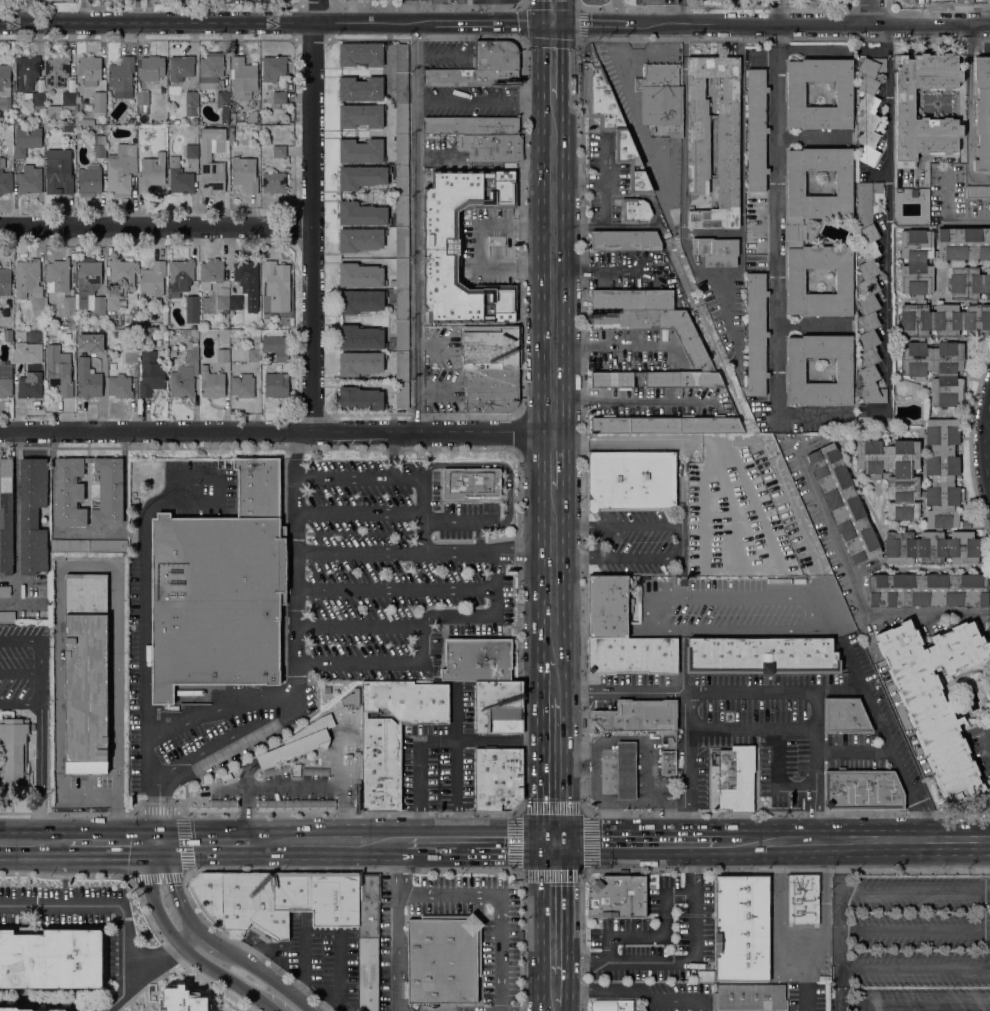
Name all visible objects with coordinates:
road: (524, 2)
road: (578, 2)
building: (655, 2)
road: (524, 5)
road: (715, 7)
road: (349, 10)
road: (409, 11)
road: (497, 11)
road: (541, 11)
road: (566, 11)
road: (615, 11)
road: (684, 11)
road: (868, 11)
road: (217, 21)
road: (487, 22)
traffic signals: (541, 23)
road: (553, 23)
traffic signals: (566, 23)
road: (601, 23)
road: (813, 23)
building: (361, 54)
building: (401, 58)
road: (566, 60)
building: (152, 67)
building: (181, 67)
building: (482, 67)
building: (274, 68)
building: (89, 70)
building: (210, 70)
building: (56, 71)
building: (26, 72)
building: (121, 77)
building: (243, 78)
building: (5, 87)
building: (401, 88)
building: (361, 89)
road: (628, 93)
building: (796, 94)
building: (34, 97)
building: (192, 98)
building: (661, 98)
building: (143, 99)
building: (68, 100)
building: (279, 100)
road: (478, 100)
building: (199, 101)
road: (553, 101)
building: (99, 102)
building: (905, 103)
building: (223, 105)
building: (869, 107)
building: (54, 110)
road: (968, 111)
building: (71, 114)
building: (982, 114)
building: (252, 116)
building: (361, 116)
building: (232, 119)
building: (401, 119)
building: (84, 122)
building: (470, 125)
building: (49, 127)
building: (615, 128)
building: (18, 129)
building: (756, 129)
building: (231, 133)
building: (99, 146)
building: (492, 146)
building: (698, 147)
building: (401, 150)
building: (20, 151)
building: (192, 151)
building: (279, 151)
building: (360, 151)
building: (206, 156)
building: (121, 169)
building: (58, 171)
building: (152, 172)
building: (244, 173)
building: (362, 176)
building: (179, 178)
building: (5, 179)
building: (89, 179)
building: (30, 180)
building: (401, 181)
building: (274, 182)
building: (978, 191)
building: (634, 210)
building: (402, 212)
building: (361, 214)
road: (311, 215)
road: (887, 215)
road: (566, 220)
road: (553, 225)
road: (155, 226)
road: (415, 226)
building: (795, 231)
road: (777, 236)
building: (360, 239)
building: (625, 241)
building: (402, 243)
road: (479, 245)
building: (442, 246)
building: (716, 251)
road: (553, 268)
building: (122, 271)
building: (210, 273)
building: (372, 275)
building: (57, 276)
building: (180, 276)
building: (152, 278)
building: (273, 279)
building: (247, 281)
building: (5, 282)
building: (969, 283)
building: (30, 284)
building: (89, 289)
building: (868, 291)
building: (632, 300)
building: (361, 301)
building: (115, 303)
building: (222, 304)
building: (235, 304)
building: (401, 305)
building: (69, 306)
building: (192, 308)
building: (939, 309)
building: (71, 325)
building: (655, 328)
building: (97, 332)
building: (192, 332)
building: (756, 334)
building: (8, 335)
building: (402, 336)
building: (360, 337)
road: (553, 343)
road: (619, 343)
road: (541, 346)
building: (491, 348)
building: (254, 353)
building: (20, 355)
building: (99, 355)
building: (223, 355)
building: (130, 356)
building: (263, 356)
building: (281, 356)
building: (108, 358)
building: (191, 358)
building: (360, 363)
building: (401, 367)
road: (566, 370)
building: (796, 370)
building: (59, 371)
building: (150, 374)
building: (87, 379)
building: (658, 379)
building: (5, 380)
building: (182, 383)
building: (211, 383)
building: (276, 385)
building: (30, 386)
building: (119, 386)
building: (243, 386)
building: (491, 390)
building: (402, 395)
road: (553, 398)
building: (360, 399)
road: (639, 399)
road: (566, 418)
building: (666, 425)
road: (196, 430)
road: (480, 430)
road: (679, 441)
road: (985, 450)
road: (393, 455)
road: (566, 464)
road: (496, 465)
road: (199, 476)
road: (359, 479)
building: (631, 480)
building: (470, 483)
road: (175, 487)
building: (259, 487)
building: (69, 492)
building: (900, 498)
railway: (552, 505)
road: (359, 513)
road: (423, 515)
building: (6, 516)
building: (32, 516)
road: (458, 521)
road: (640, 524)
road: (582, 525)
road: (598, 541)
building: (69, 545)
building: (107, 546)
road: (430, 553)
road: (582, 558)
road: (640, 558)
road: (295, 568)
road: (396, 589)
building: (928, 589)
road: (143, 590)
building: (4, 591)
road: (858, 592)
building: (215, 601)
road: (655, 604)
building: (607, 606)
building: (7, 616)
road: (490, 617)
road: (358, 626)
road: (20, 642)
road: (421, 644)
building: (632, 655)
building: (761, 655)
building: (478, 658)
road: (681, 660)
road: (357, 663)
road: (568, 665)
road: (20, 672)
road: (41, 673)
building: (86, 673)
road: (541, 683)
building: (327, 689)
road: (728, 691)
road: (566, 692)
building: (352, 698)
building: (935, 698)
road: (20, 703)
road: (217, 706)
building: (497, 707)
building: (845, 715)
building: (637, 716)
building: (312, 727)
road: (882, 729)
road: (753, 730)
building: (394, 734)
road: (233, 739)
road: (816, 740)
road: (494, 741)
road: (292, 746)
road: (457, 746)
road: (690, 746)
building: (293, 749)
building: (13, 752)
road: (854, 752)
building: (668, 762)
road: (156, 769)
building: (278, 770)
building: (317, 770)
road: (541, 770)
building: (626, 770)
road: (40, 772)
road: (351, 774)
road: (419, 775)
road: (777, 777)
building: (497, 778)
building: (735, 778)
road: (281, 790)
building: (862, 790)
road: (245, 799)
building: (226, 800)
building: (299, 800)
road: (157, 806)
road: (520, 809)
road: (816, 815)
road: (690, 822)
road: (922, 825)
road: (420, 826)
road: (458, 826)
road: (979, 839)
road: (856, 840)
road: (33, 841)
road: (112, 841)
road: (642, 841)
road: (730, 841)
traffic signals: (157, 842)
road: (207, 842)
road: (332, 842)
road: (474, 842)
traffic signals: (541, 842)
road: (555, 842)
traffic signals: (570, 842)
road: (182, 847)
road: (780, 857)
road: (824, 857)
road: (839, 866)
road: (694, 868)
road: (914, 893)
building: (616, 897)
building: (277, 899)
building: (803, 899)
road: (96, 903)
road: (501, 903)
road: (570, 907)
road: (822, 924)
road: (398, 926)
road: (541, 926)
building: (741, 928)
road: (780, 929)
road: (914, 932)
road: (658, 935)
building: (368, 940)
road: (216, 942)
road: (181, 945)
road: (838, 951)
building: (51, 959)
building: (443, 959)
road: (682, 962)
road: (590, 963)
road: (150, 967)
road: (914, 967)
road: (340, 976)
road: (807, 988)
road: (570, 991)
road: (639, 996)
building: (750, 997)
building: (183, 999)
road: (914, 1002)
building: (612, 1005)
building: (13, 1009)
building: (58, 1010)
road: (568, 1010)

